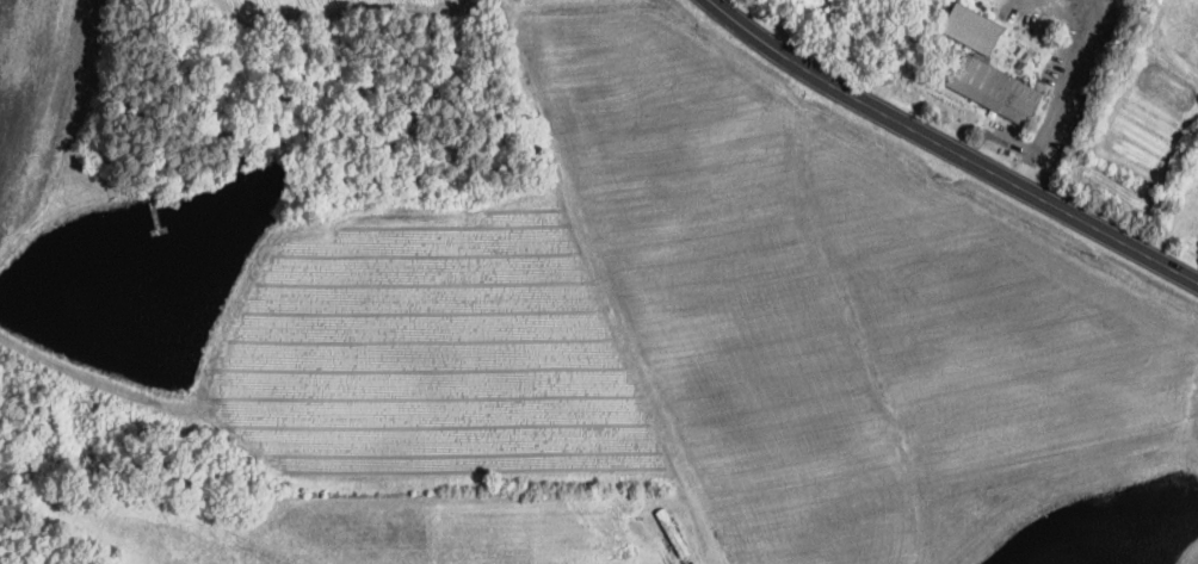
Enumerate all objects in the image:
building: (978, 27)
building: (999, 88)
road: (1062, 95)
road: (943, 148)
building: (674, 532)

